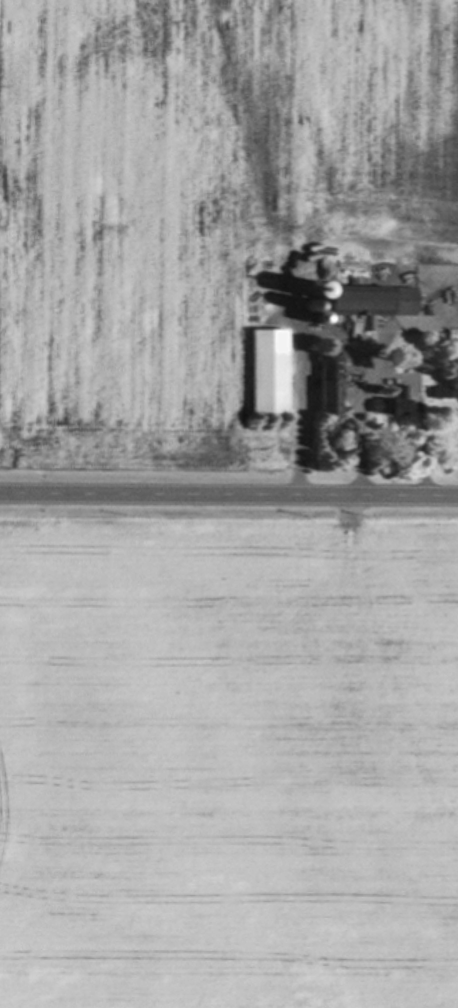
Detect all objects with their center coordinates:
crop: (196, 202)
building: (368, 301)
building: (452, 333)
road: (327, 342)
building: (412, 360)
building: (266, 371)
building: (328, 382)
building: (438, 391)
building: (386, 405)
road: (228, 497)
crop: (228, 761)

